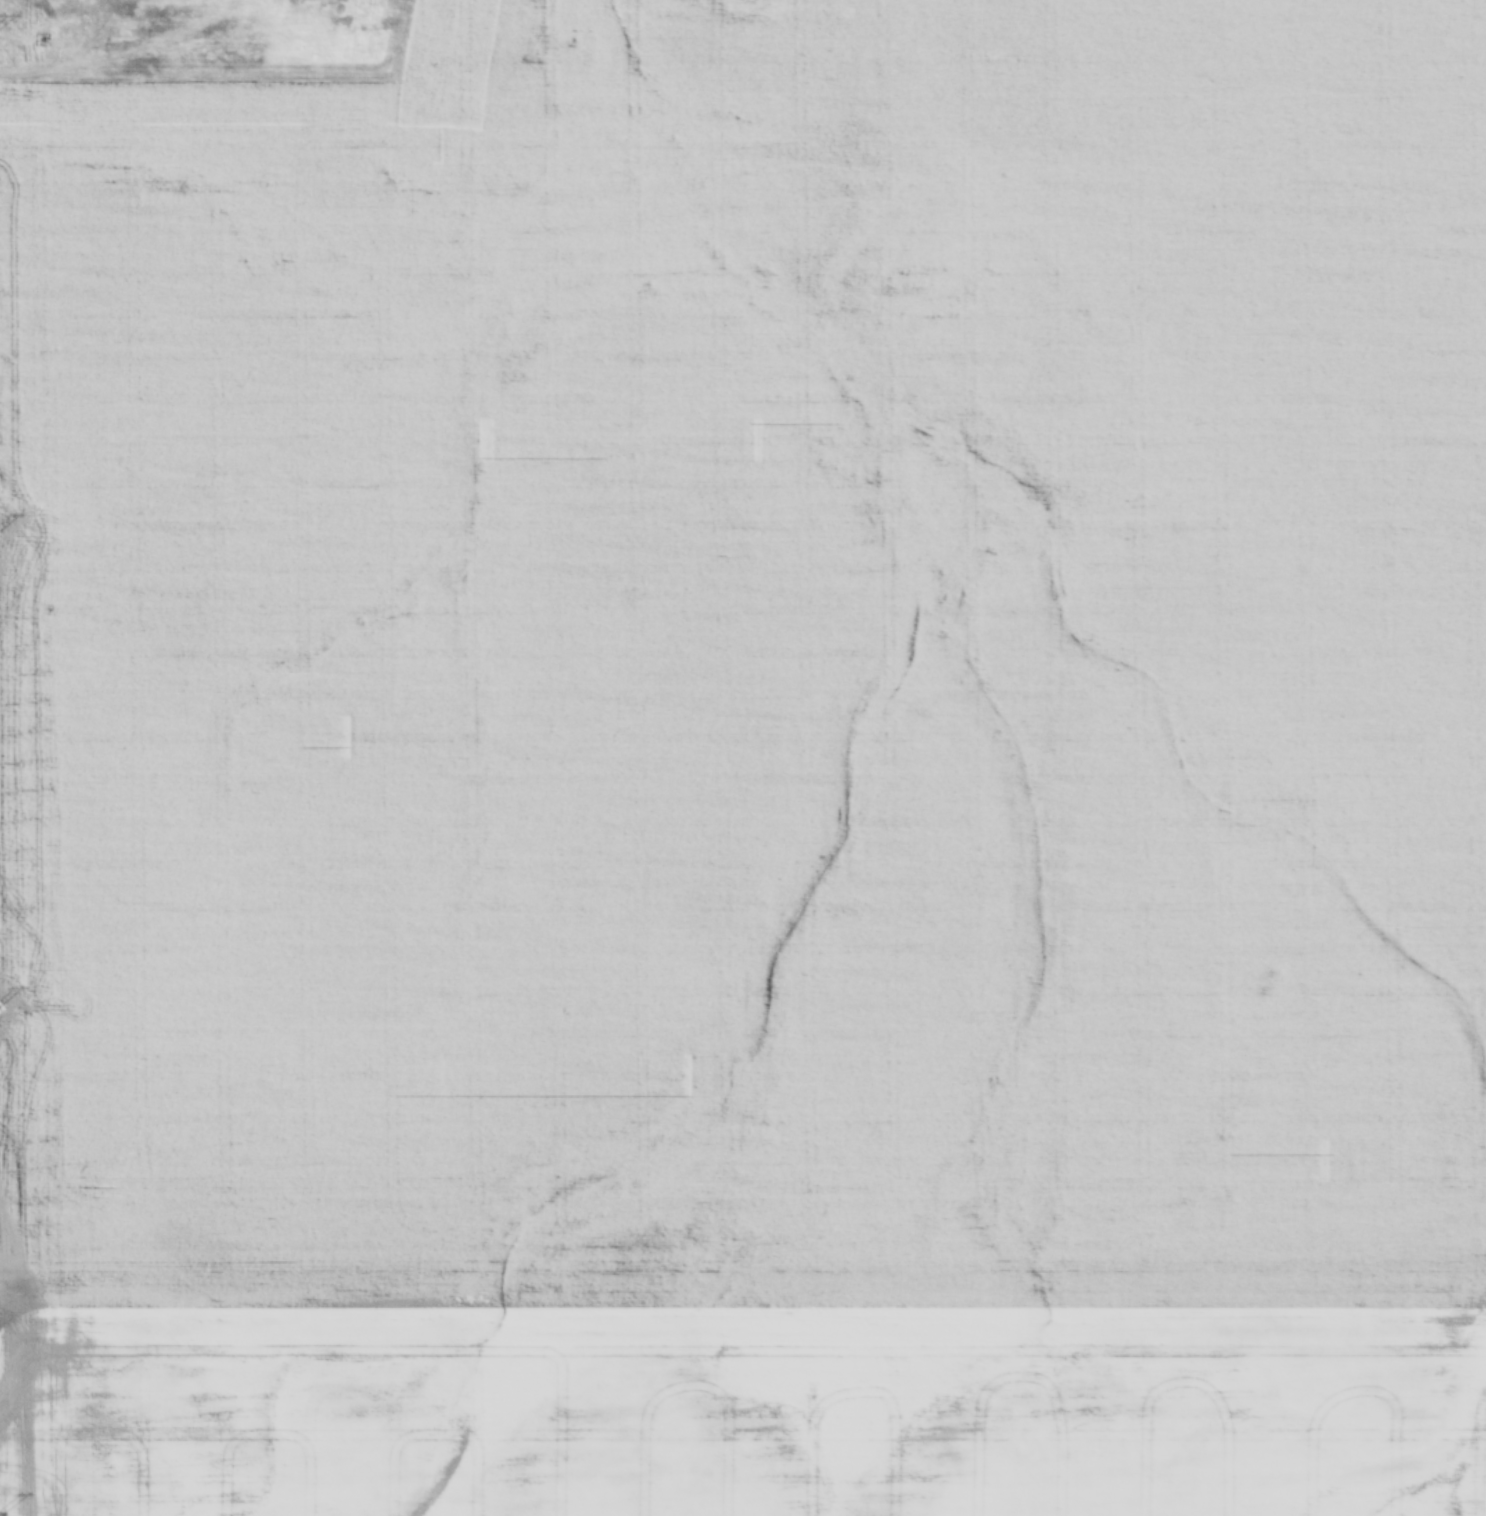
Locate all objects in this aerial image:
road: (743, 1301)

